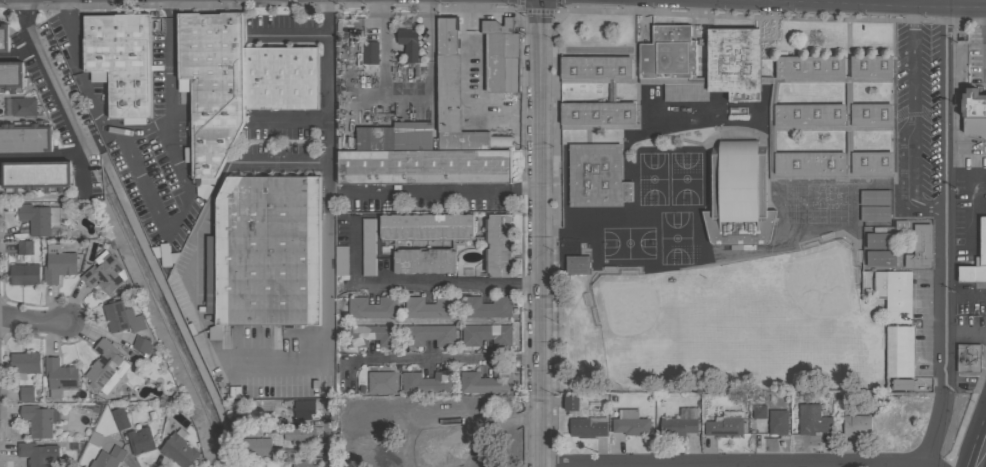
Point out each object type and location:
road: (944, 8)
road: (590, 11)
road: (290, 30)
building: (3, 37)
road: (30, 40)
building: (408, 44)
building: (369, 52)
building: (501, 56)
building: (121, 59)
parking lot: (973, 59)
building: (448, 62)
building: (667, 63)
building: (11, 76)
building: (280, 78)
building: (212, 86)
building: (611, 92)
parking lot: (981, 92)
building: (972, 105)
building: (24, 107)
road: (67, 116)
building: (829, 118)
road: (912, 121)
road: (146, 128)
building: (974, 128)
building: (464, 133)
building: (25, 137)
building: (395, 137)
road: (39, 157)
building: (424, 166)
building: (36, 176)
building: (596, 176)
road: (220, 180)
road: (398, 192)
road: (504, 192)
building: (738, 197)
building: (875, 197)
building: (874, 213)
building: (40, 219)
road: (160, 224)
building: (426, 227)
road: (326, 231)
road: (538, 233)
road: (944, 238)
building: (880, 240)
building: (982, 242)
building: (498, 245)
building: (24, 247)
building: (368, 247)
building: (919, 248)
building: (265, 252)
building: (880, 258)
building: (340, 260)
building: (424, 260)
building: (58, 264)
building: (577, 265)
building: (104, 273)
building: (24, 274)
building: (971, 275)
road: (417, 281)
building: (895, 294)
road: (965, 296)
building: (429, 307)
building: (486, 307)
building: (372, 308)
building: (122, 317)
road: (31, 320)
building: (487, 334)
building: (373, 335)
building: (429, 335)
building: (142, 345)
building: (899, 351)
road: (440, 358)
building: (968, 358)
building: (108, 362)
building: (24, 364)
building: (59, 376)
building: (381, 382)
building: (486, 382)
building: (427, 383)
building: (901, 384)
building: (27, 394)
building: (571, 403)
building: (456, 404)
building: (412, 406)
building: (303, 412)
building: (759, 412)
building: (120, 418)
building: (38, 420)
building: (812, 420)
building: (778, 422)
building: (269, 423)
building: (630, 423)
building: (679, 423)
building: (725, 424)
building: (856, 425)
building: (589, 426)
building: (386, 433)
building: (299, 436)
building: (95, 438)
building: (140, 441)
road: (329, 443)
building: (260, 448)
building: (179, 449)
building: (365, 451)
building: (302, 452)
road: (981, 454)
building: (38, 455)
building: (109, 458)
road: (733, 462)
building: (298, 464)
building: (487, 465)

